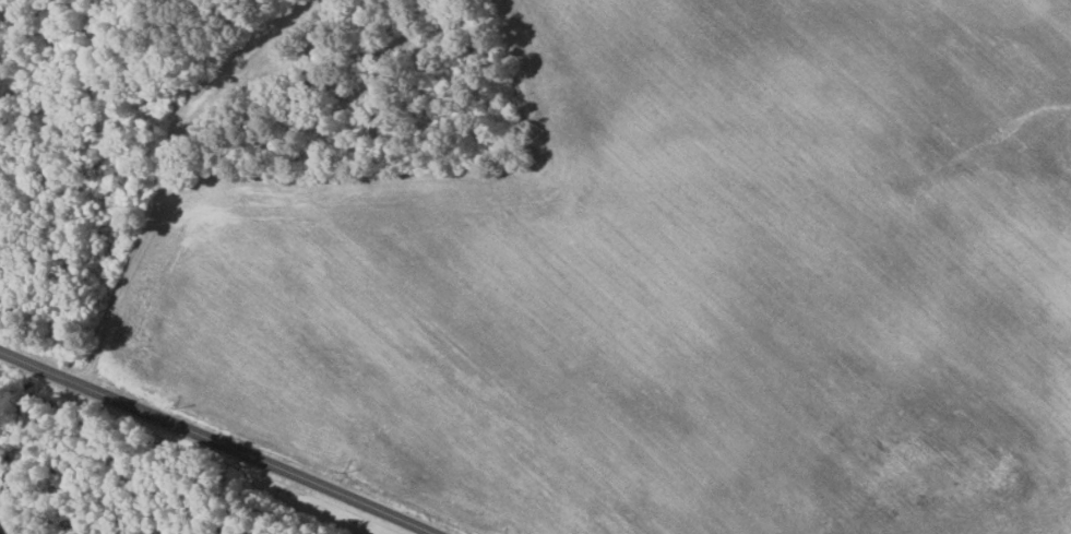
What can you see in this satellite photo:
road: (153, 176)
road: (221, 438)

